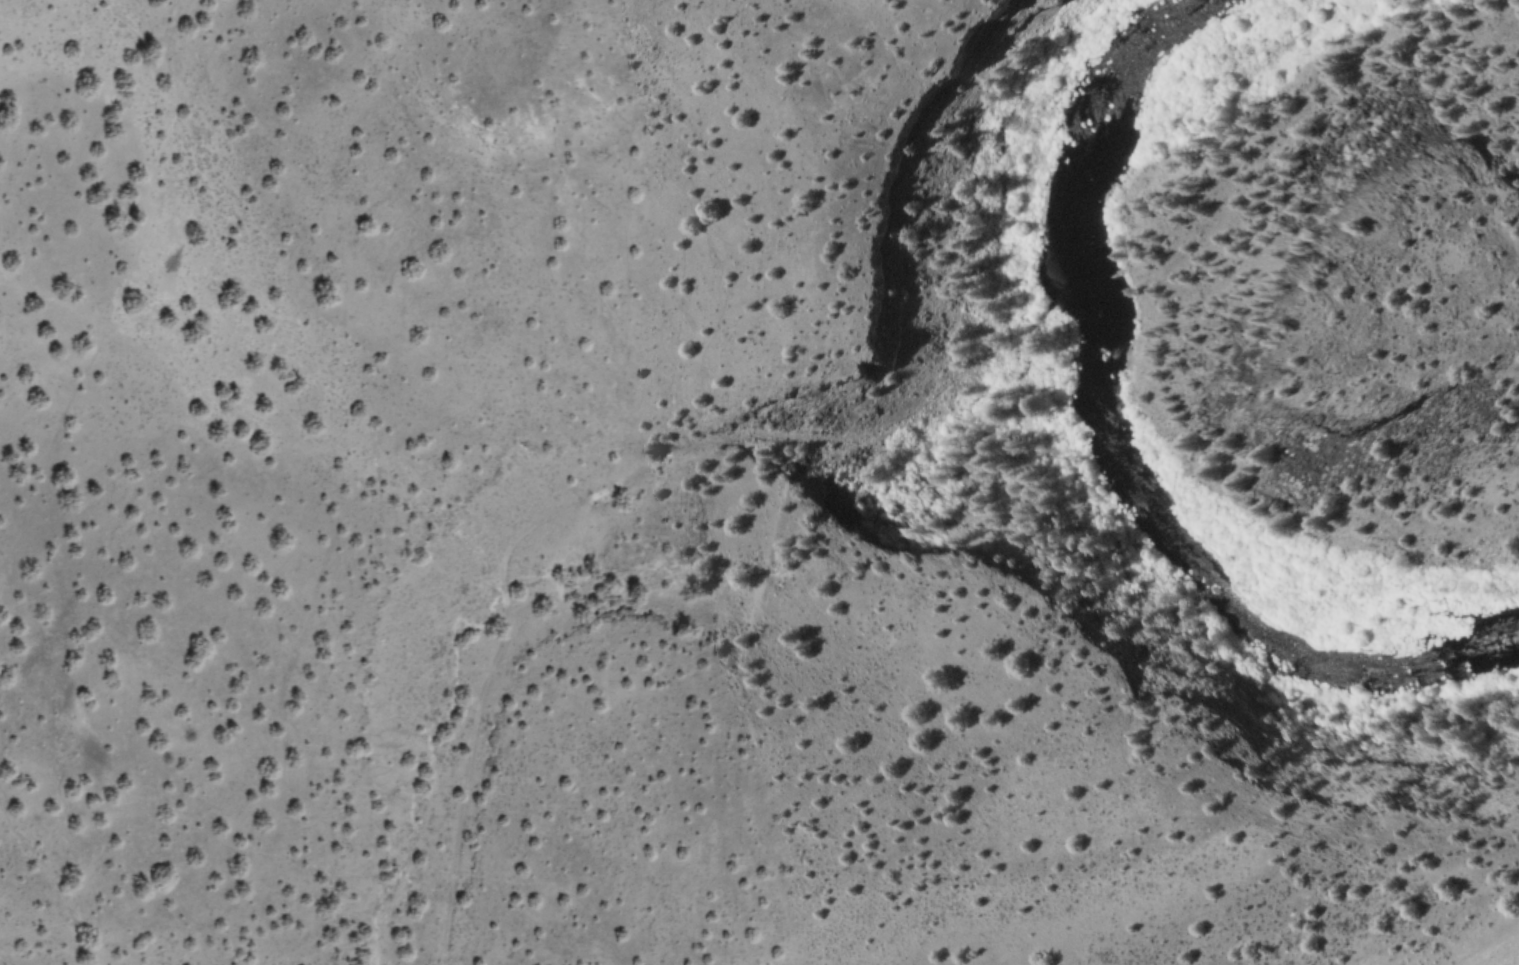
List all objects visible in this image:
river: (1119, 458)
crop: (1453, 947)

